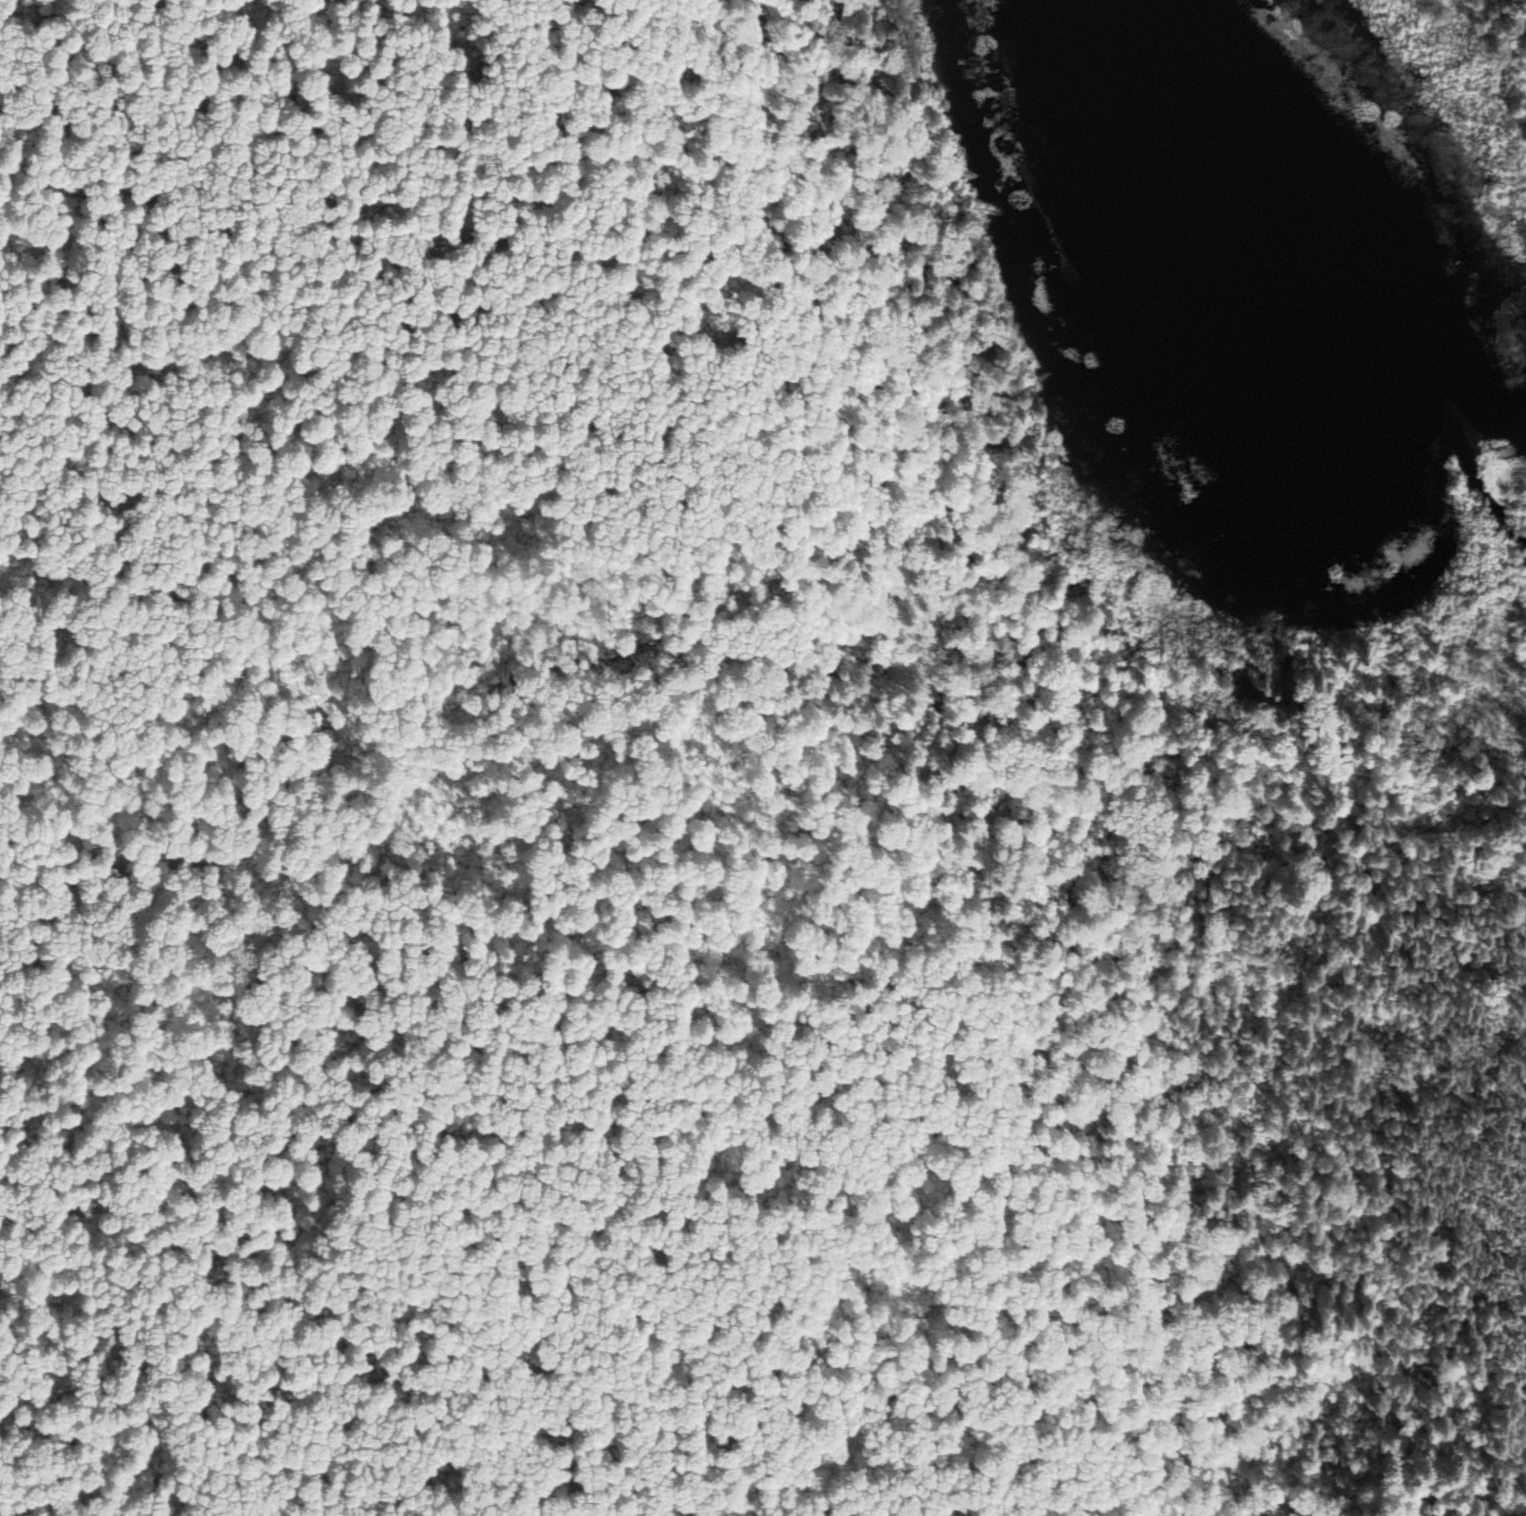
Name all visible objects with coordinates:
river: (1343, 223)

